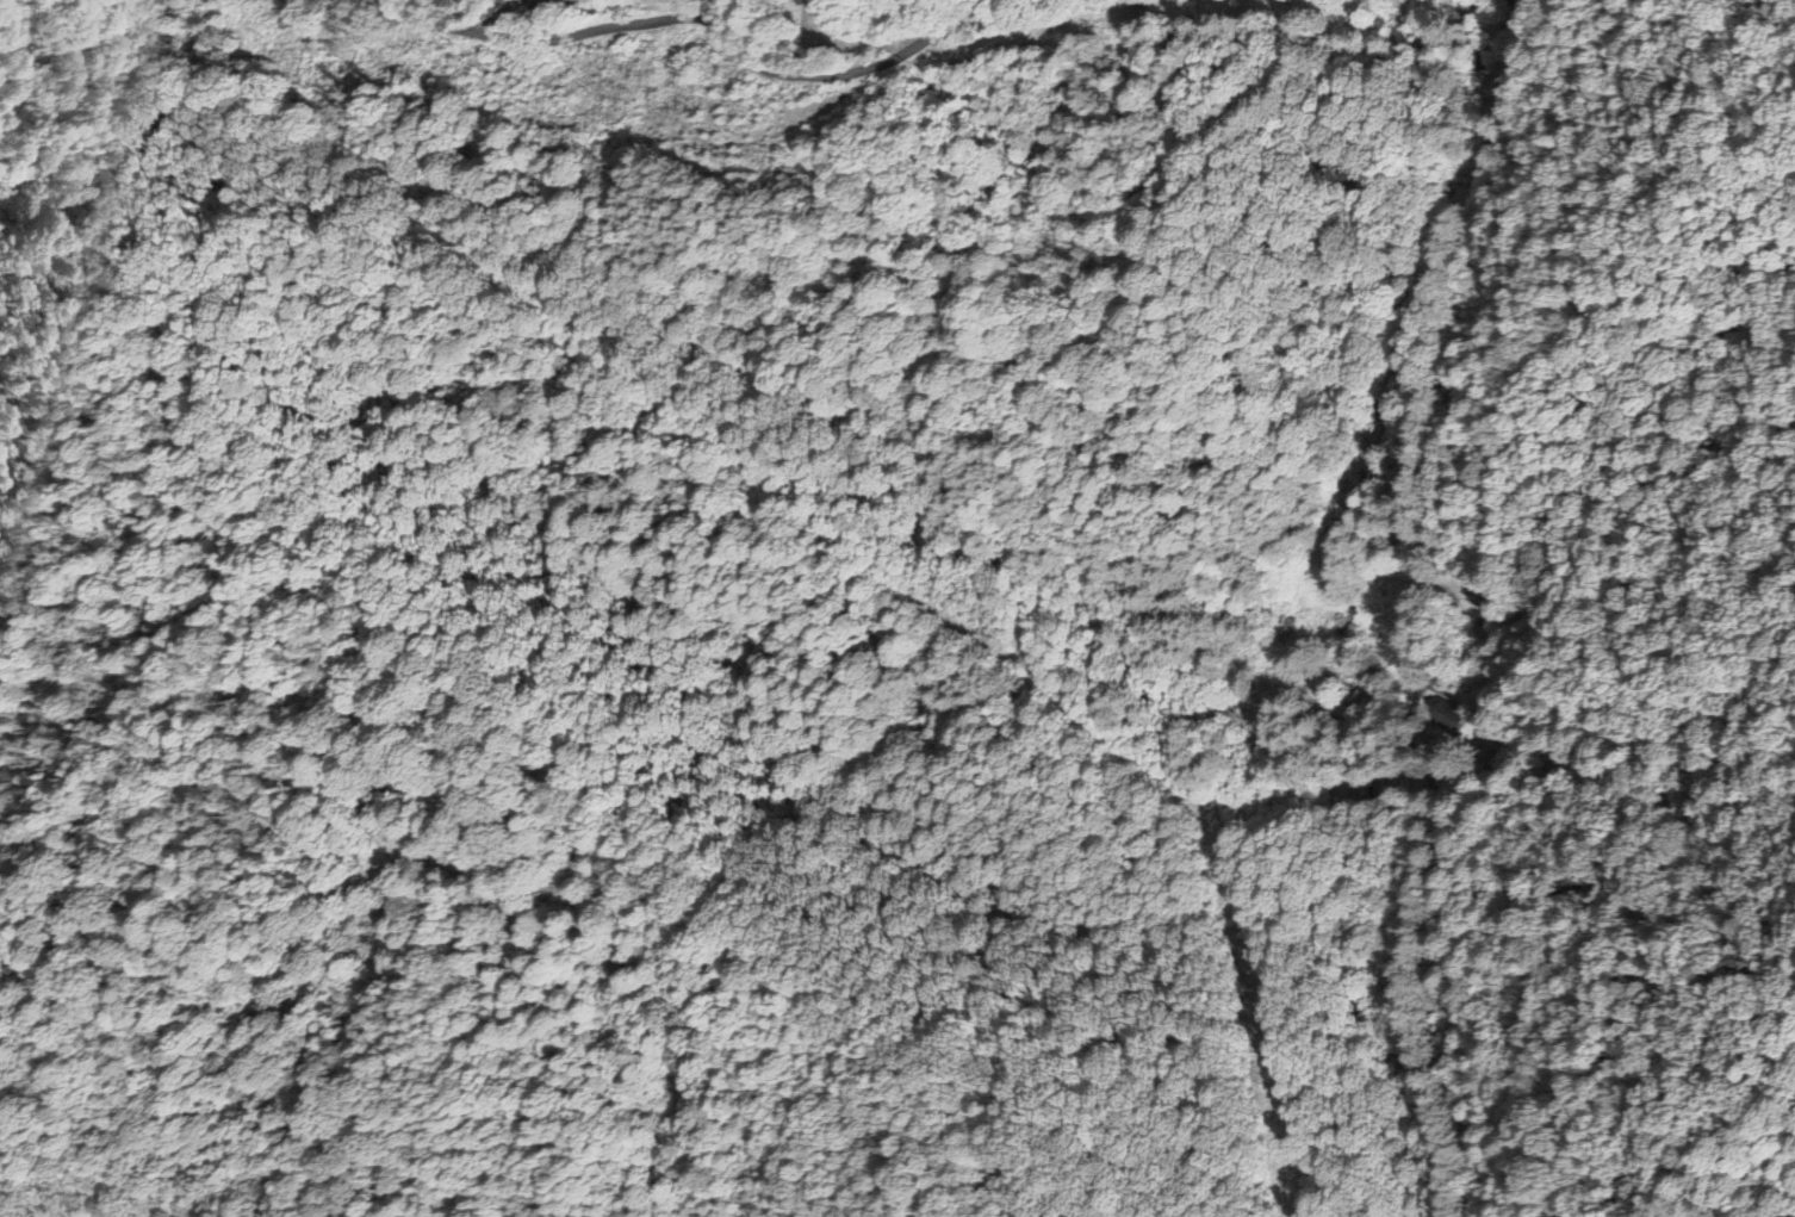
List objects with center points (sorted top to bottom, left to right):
road: (702, 14)
building: (1477, 60)
building: (1279, 627)
building: (1442, 716)

